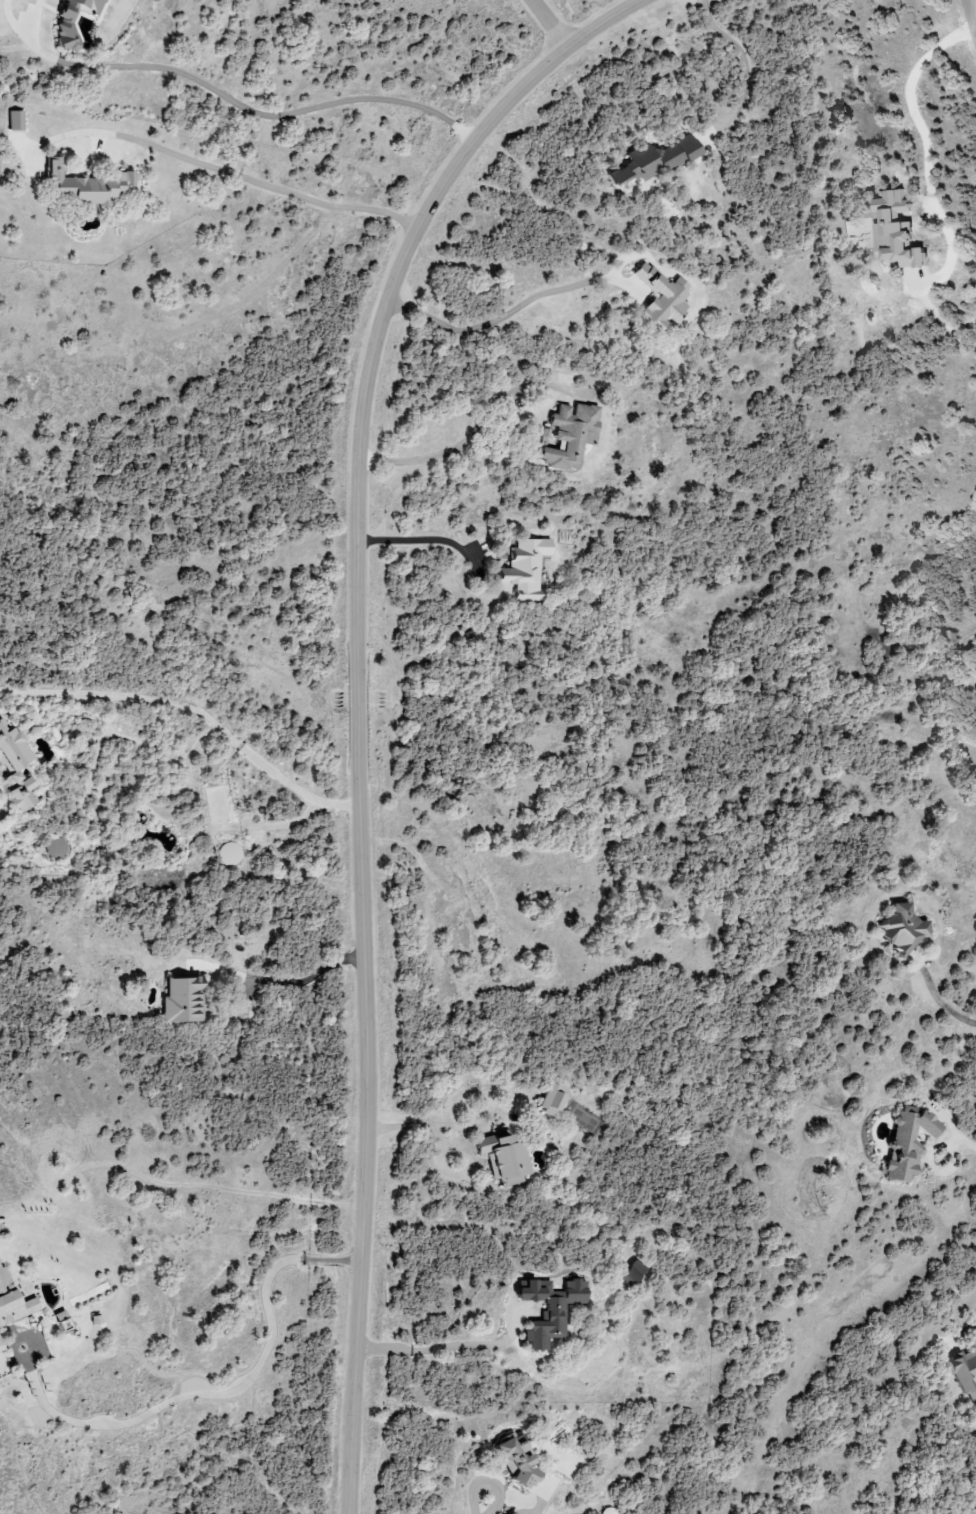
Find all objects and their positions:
road: (972, 13)
road: (547, 24)
building: (63, 25)
road: (747, 60)
road: (232, 94)
building: (14, 120)
road: (915, 122)
building: (653, 160)
road: (242, 179)
building: (82, 184)
building: (903, 206)
building: (895, 241)
building: (658, 297)
road: (501, 317)
road: (474, 433)
building: (568, 435)
road: (421, 542)
building: (523, 568)
road: (355, 702)
road: (193, 706)
building: (10, 749)
building: (19, 795)
building: (900, 929)
road: (280, 968)
road: (943, 1000)
building: (180, 1001)
building: (552, 1100)
road: (960, 1139)
building: (903, 1143)
building: (500, 1158)
building: (631, 1272)
building: (12, 1302)
building: (548, 1309)
building: (93, 1320)
road: (975, 1325)
road: (430, 1346)
building: (963, 1371)
road: (218, 1390)
building: (511, 1459)
road: (483, 1505)
building: (512, 1513)

